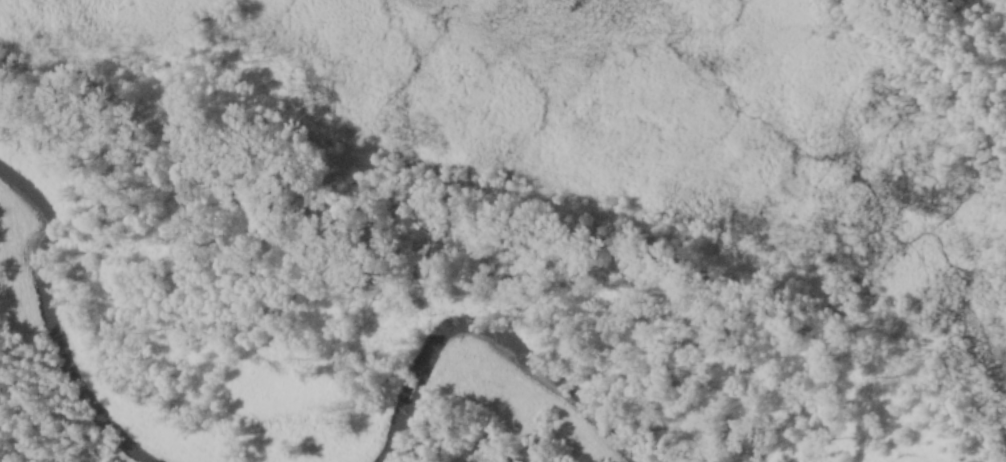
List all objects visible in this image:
park: (503, 231)

